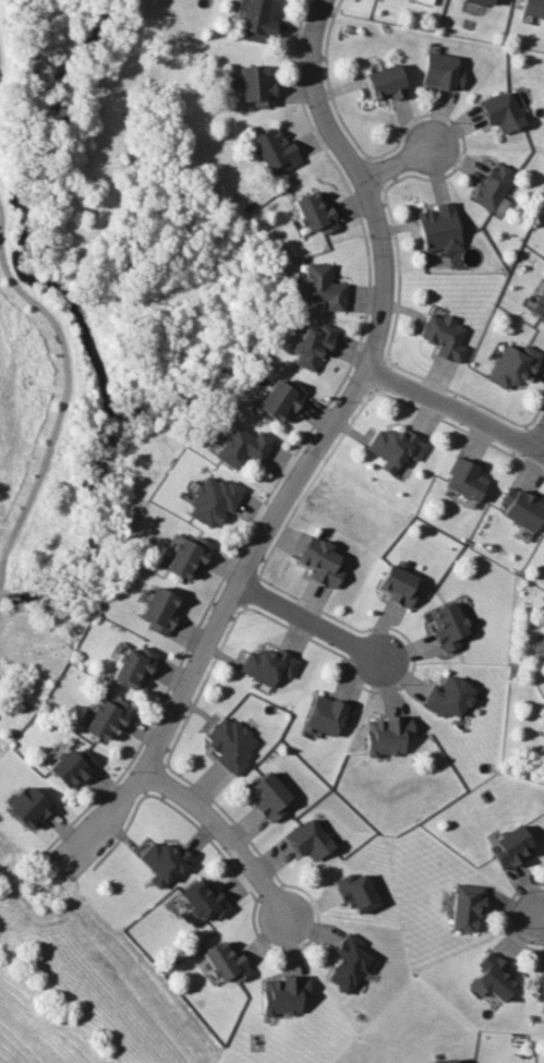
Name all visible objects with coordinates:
building: (426, 1)
building: (482, 1)
building: (533, 8)
building: (257, 21)
building: (442, 71)
building: (386, 82)
building: (254, 84)
building: (501, 111)
building: (276, 150)
road: (397, 159)
building: (493, 185)
building: (314, 213)
building: (439, 228)
building: (323, 286)
building: (539, 304)
park: (101, 306)
building: (444, 335)
building: (312, 345)
building: (512, 364)
building: (280, 398)
road: (455, 406)
road: (60, 408)
road: (540, 439)
building: (242, 446)
building: (394, 447)
road: (315, 449)
building: (464, 479)
building: (210, 498)
building: (521, 507)
building: (185, 554)
building: (322, 560)
building: (158, 609)
road: (314, 621)
building: (447, 626)
building: (542, 651)
building: (268, 664)
building: (132, 665)
building: (447, 697)
building: (542, 702)
building: (543, 711)
building: (327, 714)
building: (106, 716)
building: (386, 734)
building: (230, 742)
building: (69, 766)
building: (268, 794)
building: (27, 805)
road: (223, 836)
building: (309, 838)
building: (510, 846)
building: (162, 861)
building: (355, 892)
building: (201, 901)
building: (464, 906)
road: (534, 911)
building: (223, 962)
building: (348, 962)
building: (494, 976)
building: (541, 989)
building: (282, 993)
building: (439, 1061)

